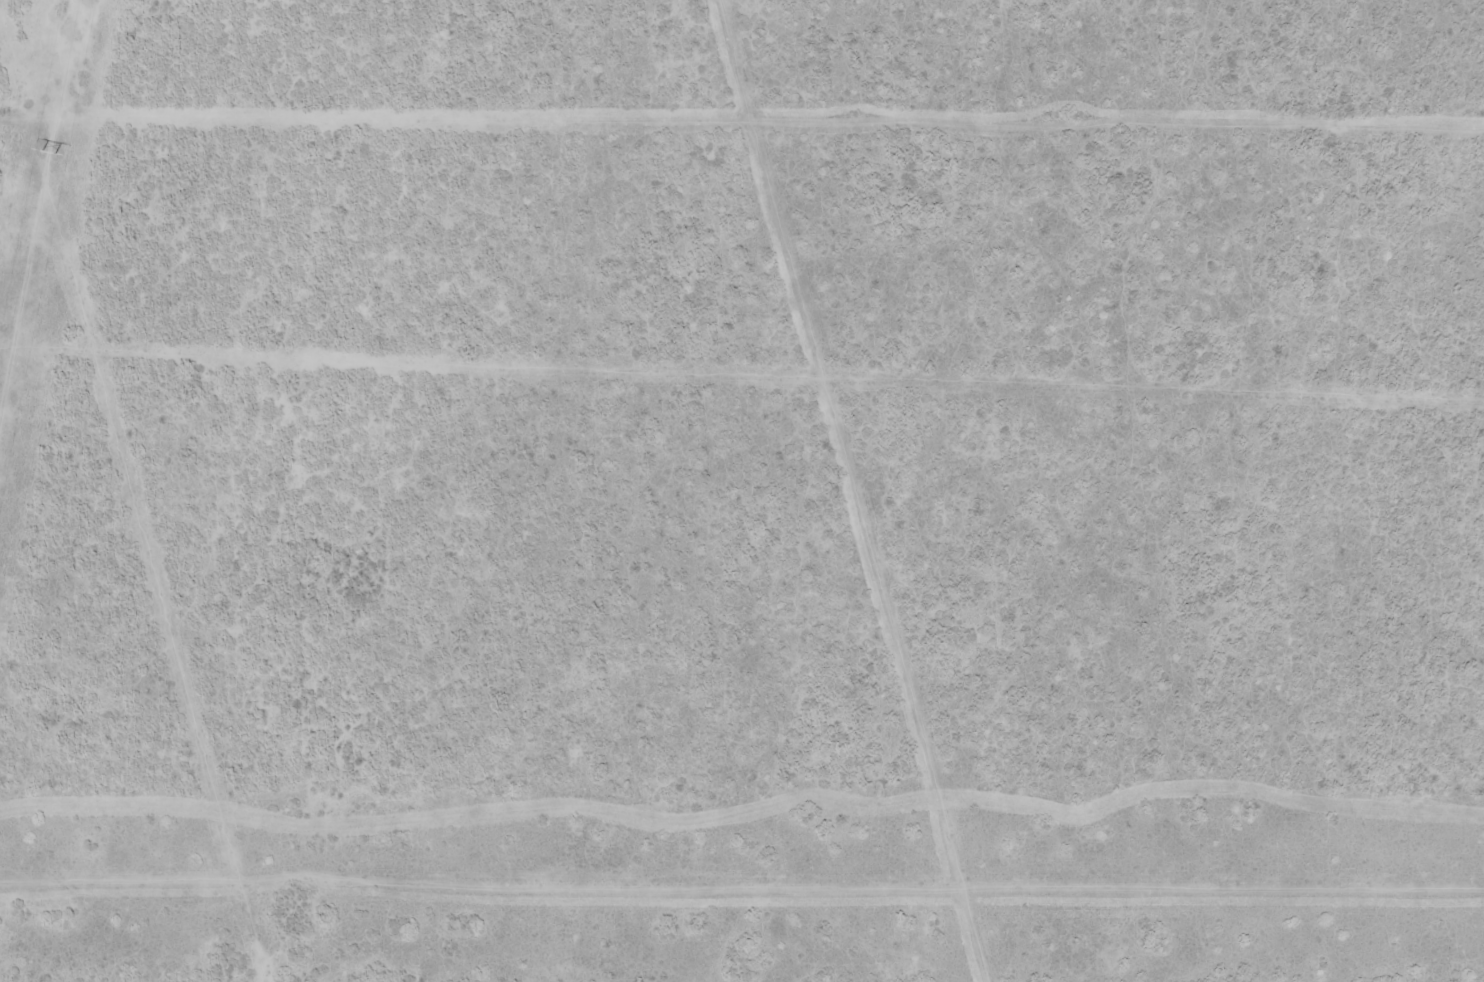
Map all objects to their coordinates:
power tower: (47, 154)

